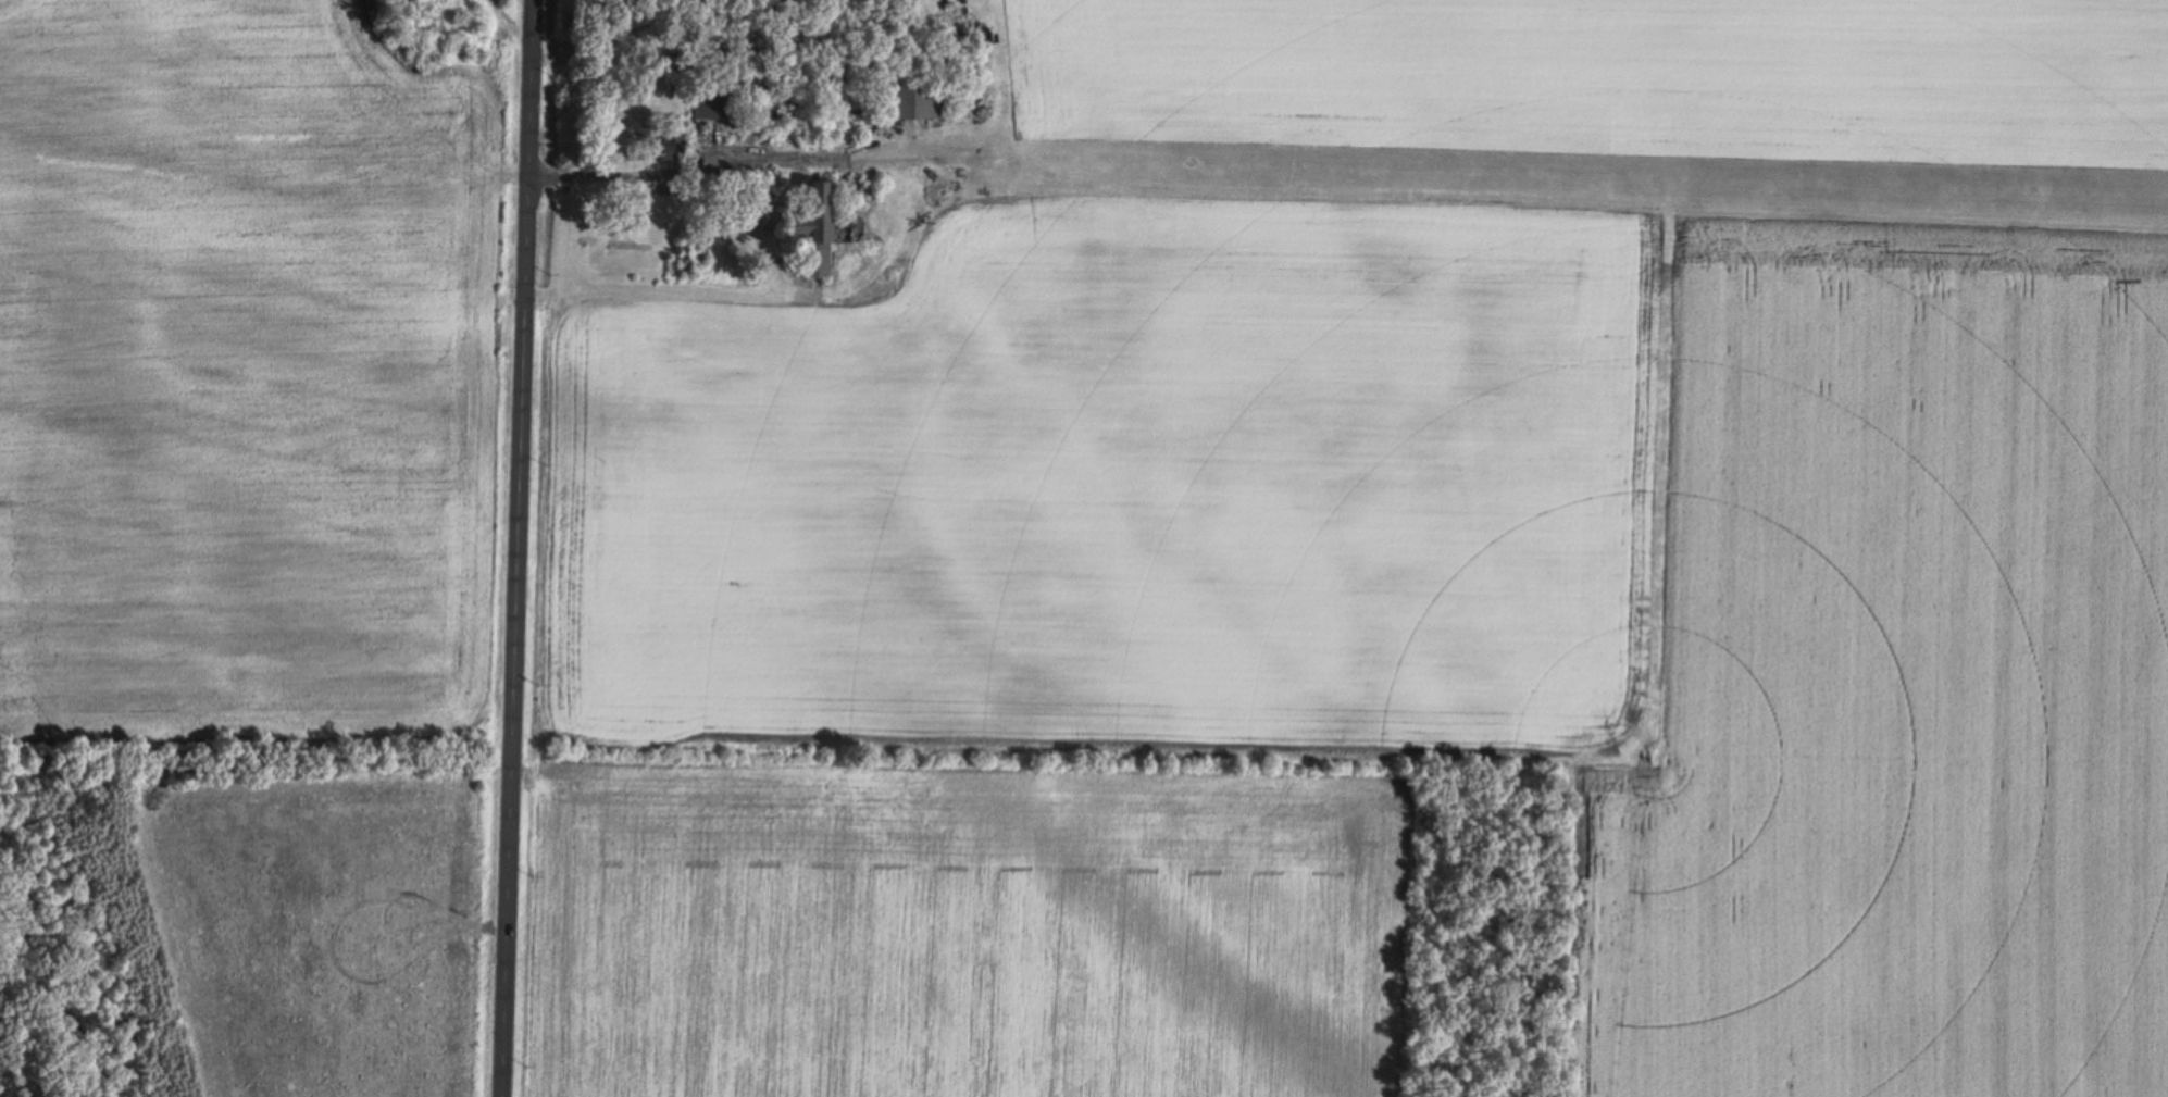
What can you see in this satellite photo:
building: (909, 98)
building: (708, 99)
building: (653, 142)
road: (677, 171)
building: (817, 228)
road: (516, 548)

